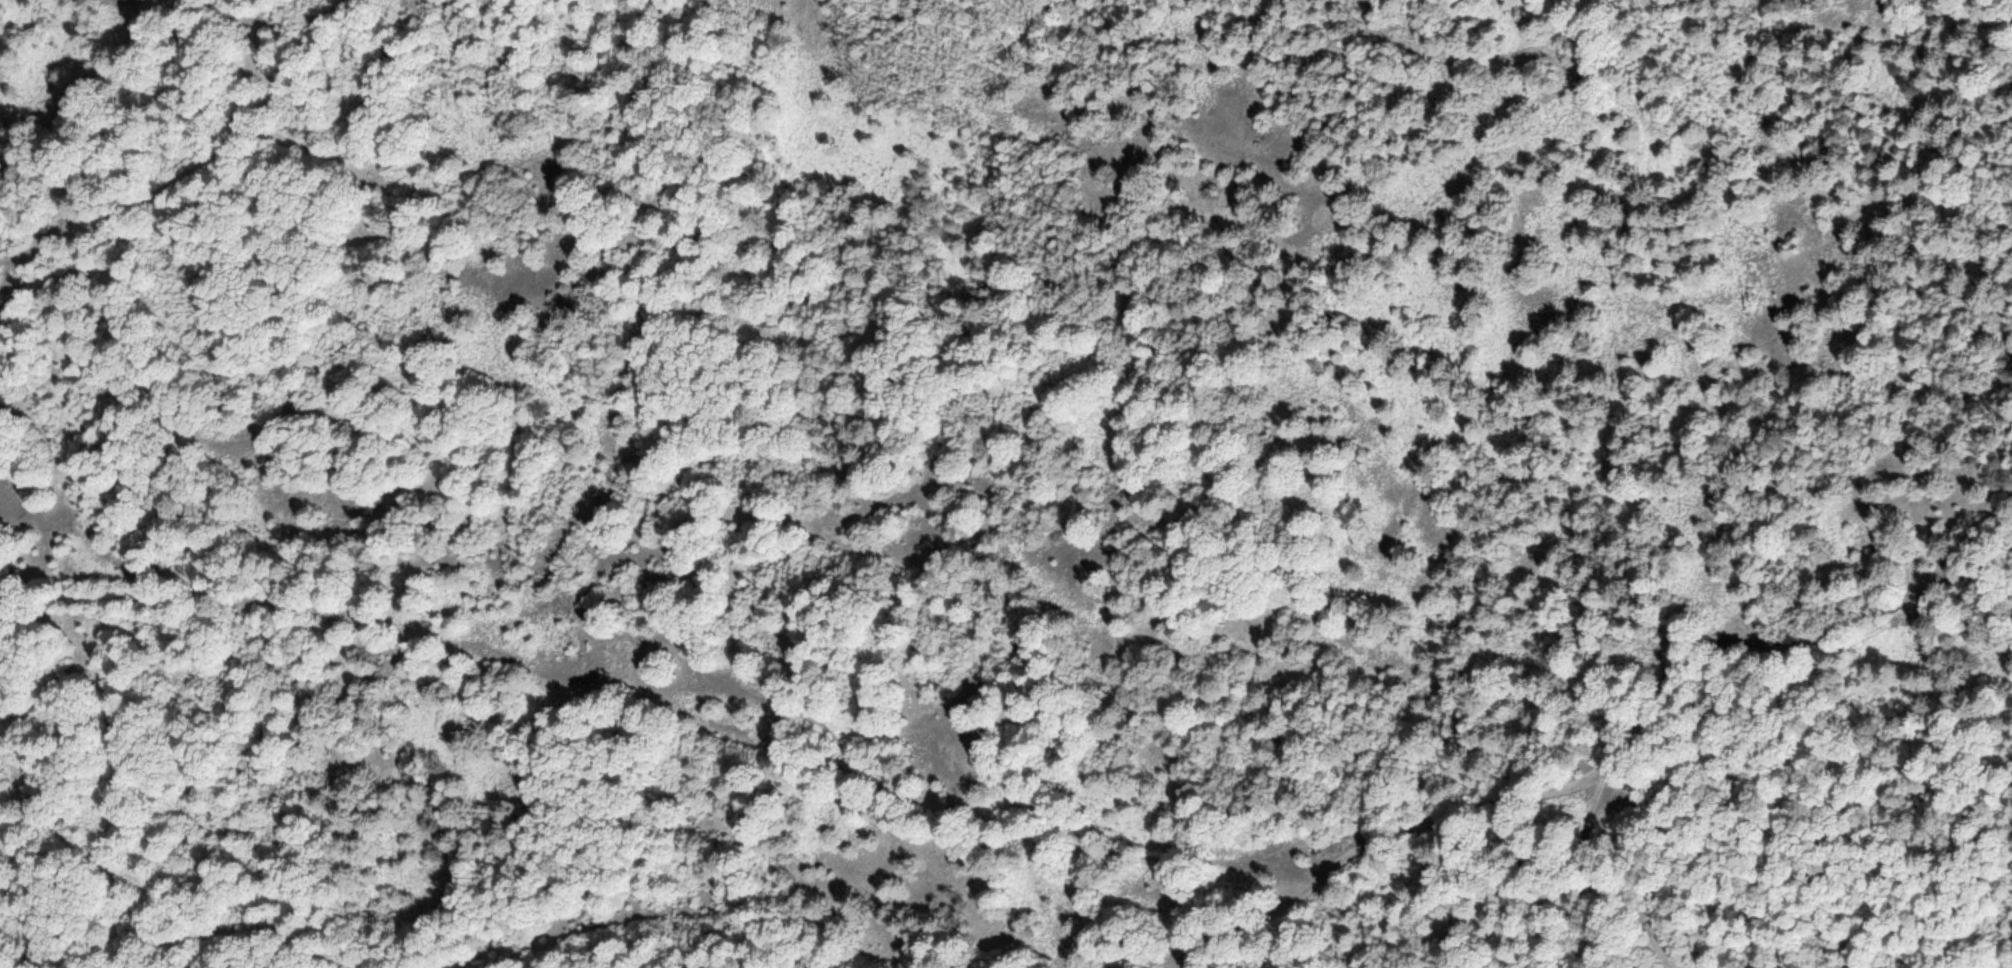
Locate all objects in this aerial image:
road: (120, 138)
road: (1946, 557)
road: (1943, 581)
road: (610, 626)
road: (1641, 718)
road: (1603, 879)
road: (1311, 884)
road: (1218, 952)
road: (1184, 953)

